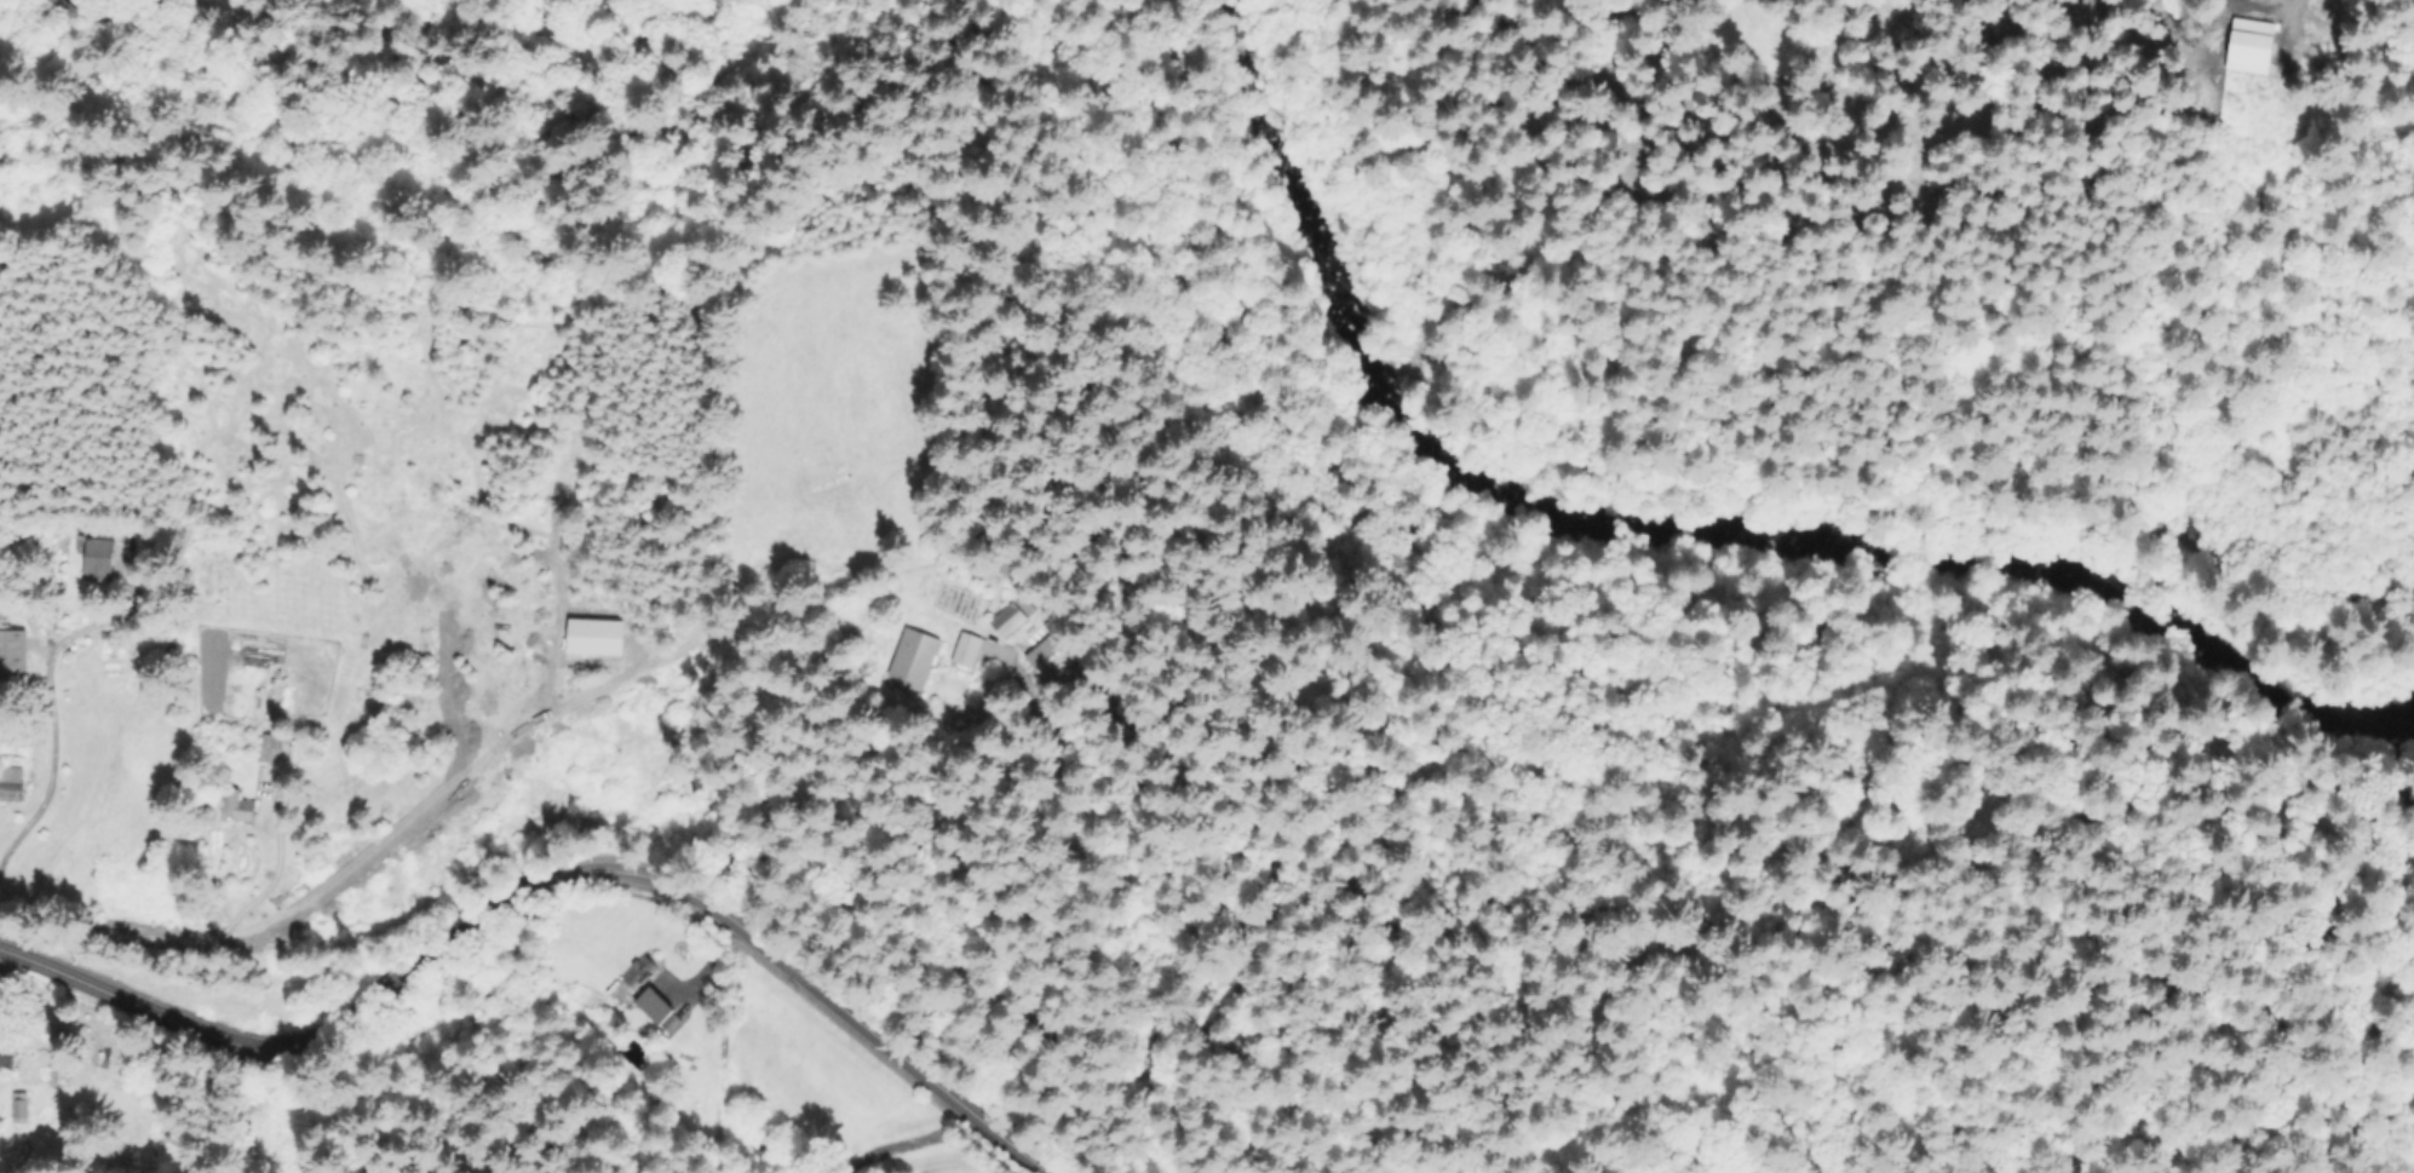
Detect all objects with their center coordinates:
building: (2248, 47)
building: (84, 525)
building: (99, 554)
building: (1007, 620)
building: (108, 634)
building: (966, 649)
building: (914, 660)
building: (370, 689)
road: (40, 709)
building: (271, 749)
building: (295, 753)
building: (11, 786)
building: (237, 806)
road: (343, 868)
road: (541, 879)
building: (640, 972)
building: (655, 1006)
building: (21, 1106)
road: (908, 1139)

